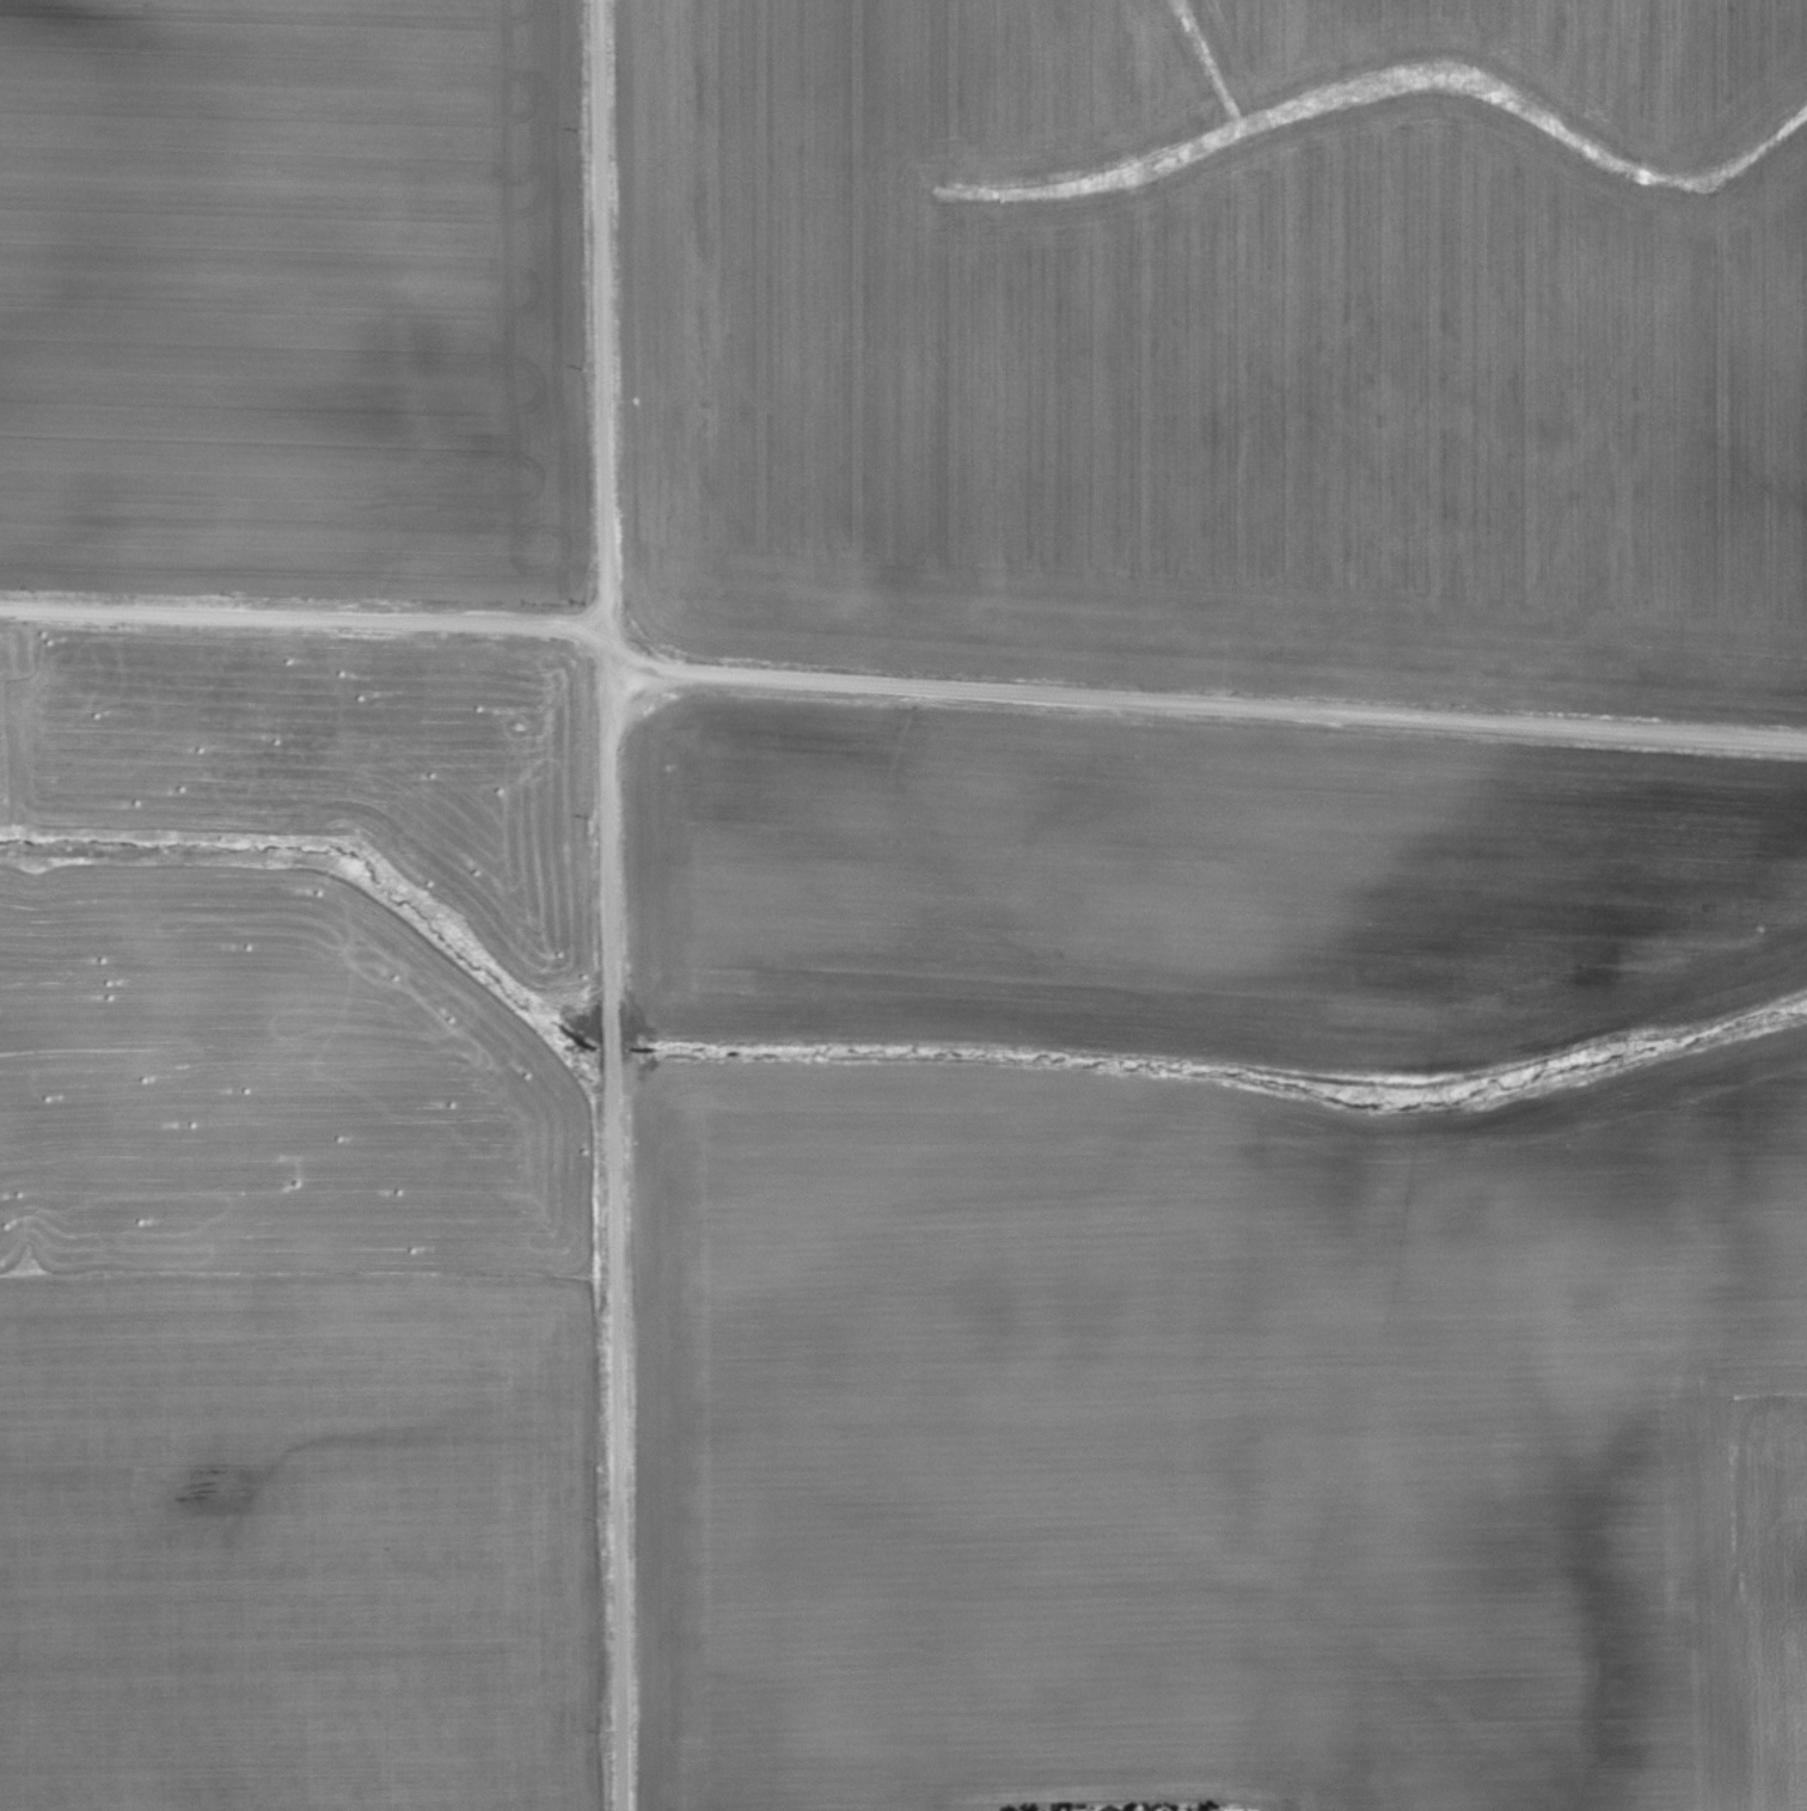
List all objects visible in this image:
road: (602, 324)
road: (307, 618)
road: (1205, 705)
road: (618, 1229)

